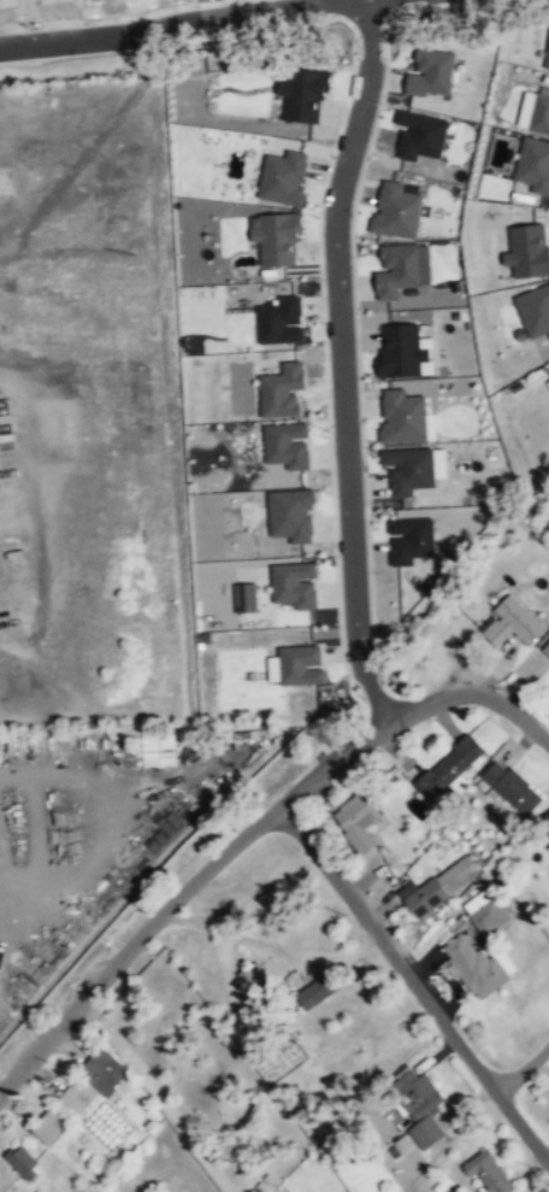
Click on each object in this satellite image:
road: (187, 28)
building: (435, 72)
building: (306, 92)
building: (536, 111)
building: (423, 134)
building: (535, 163)
building: (285, 176)
building: (400, 209)
building: (278, 235)
building: (530, 248)
building: (401, 269)
building: (536, 309)
building: (283, 319)
building: (403, 351)
road: (340, 365)
building: (284, 389)
building: (405, 416)
building: (289, 444)
building: (411, 469)
building: (294, 513)
building: (412, 539)
building: (297, 583)
building: (247, 595)
building: (514, 621)
building: (547, 646)
building: (302, 664)
building: (274, 668)
road: (515, 714)
building: (451, 768)
building: (514, 787)
building: (359, 820)
building: (548, 845)
road: (216, 861)
building: (441, 885)
building: (485, 911)
building: (477, 965)
building: (256, 979)
road: (415, 985)
building: (319, 990)
building: (107, 1069)
road: (523, 1069)
building: (429, 1132)
building: (24, 1161)
building: (491, 1172)

